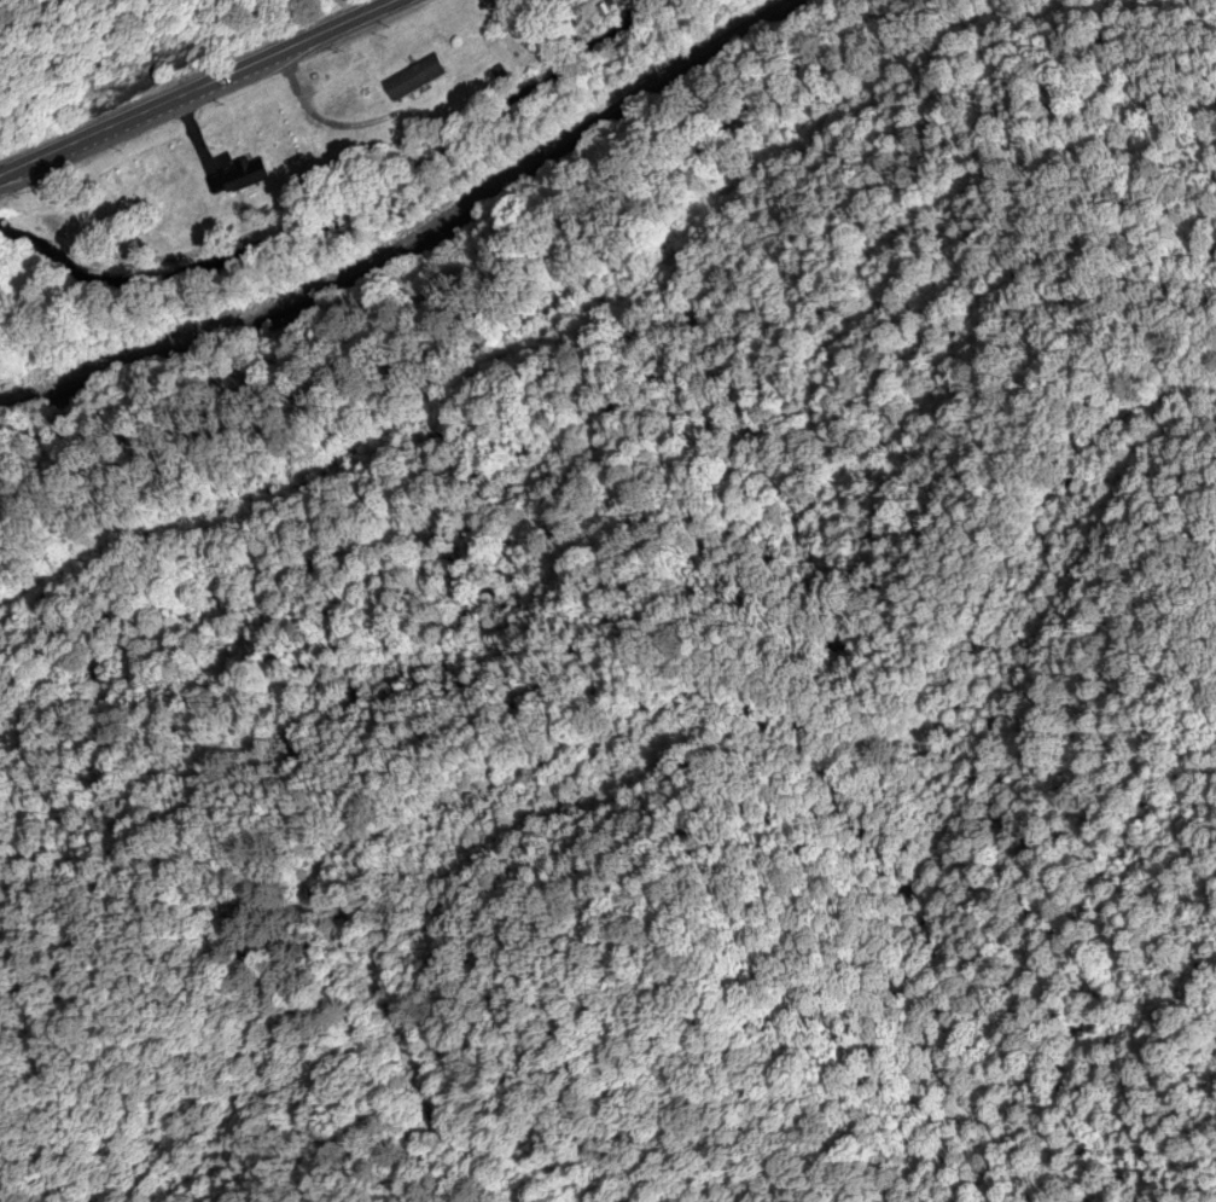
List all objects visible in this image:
building: (418, 79)
road: (194, 87)
building: (246, 176)
railway: (424, 239)

